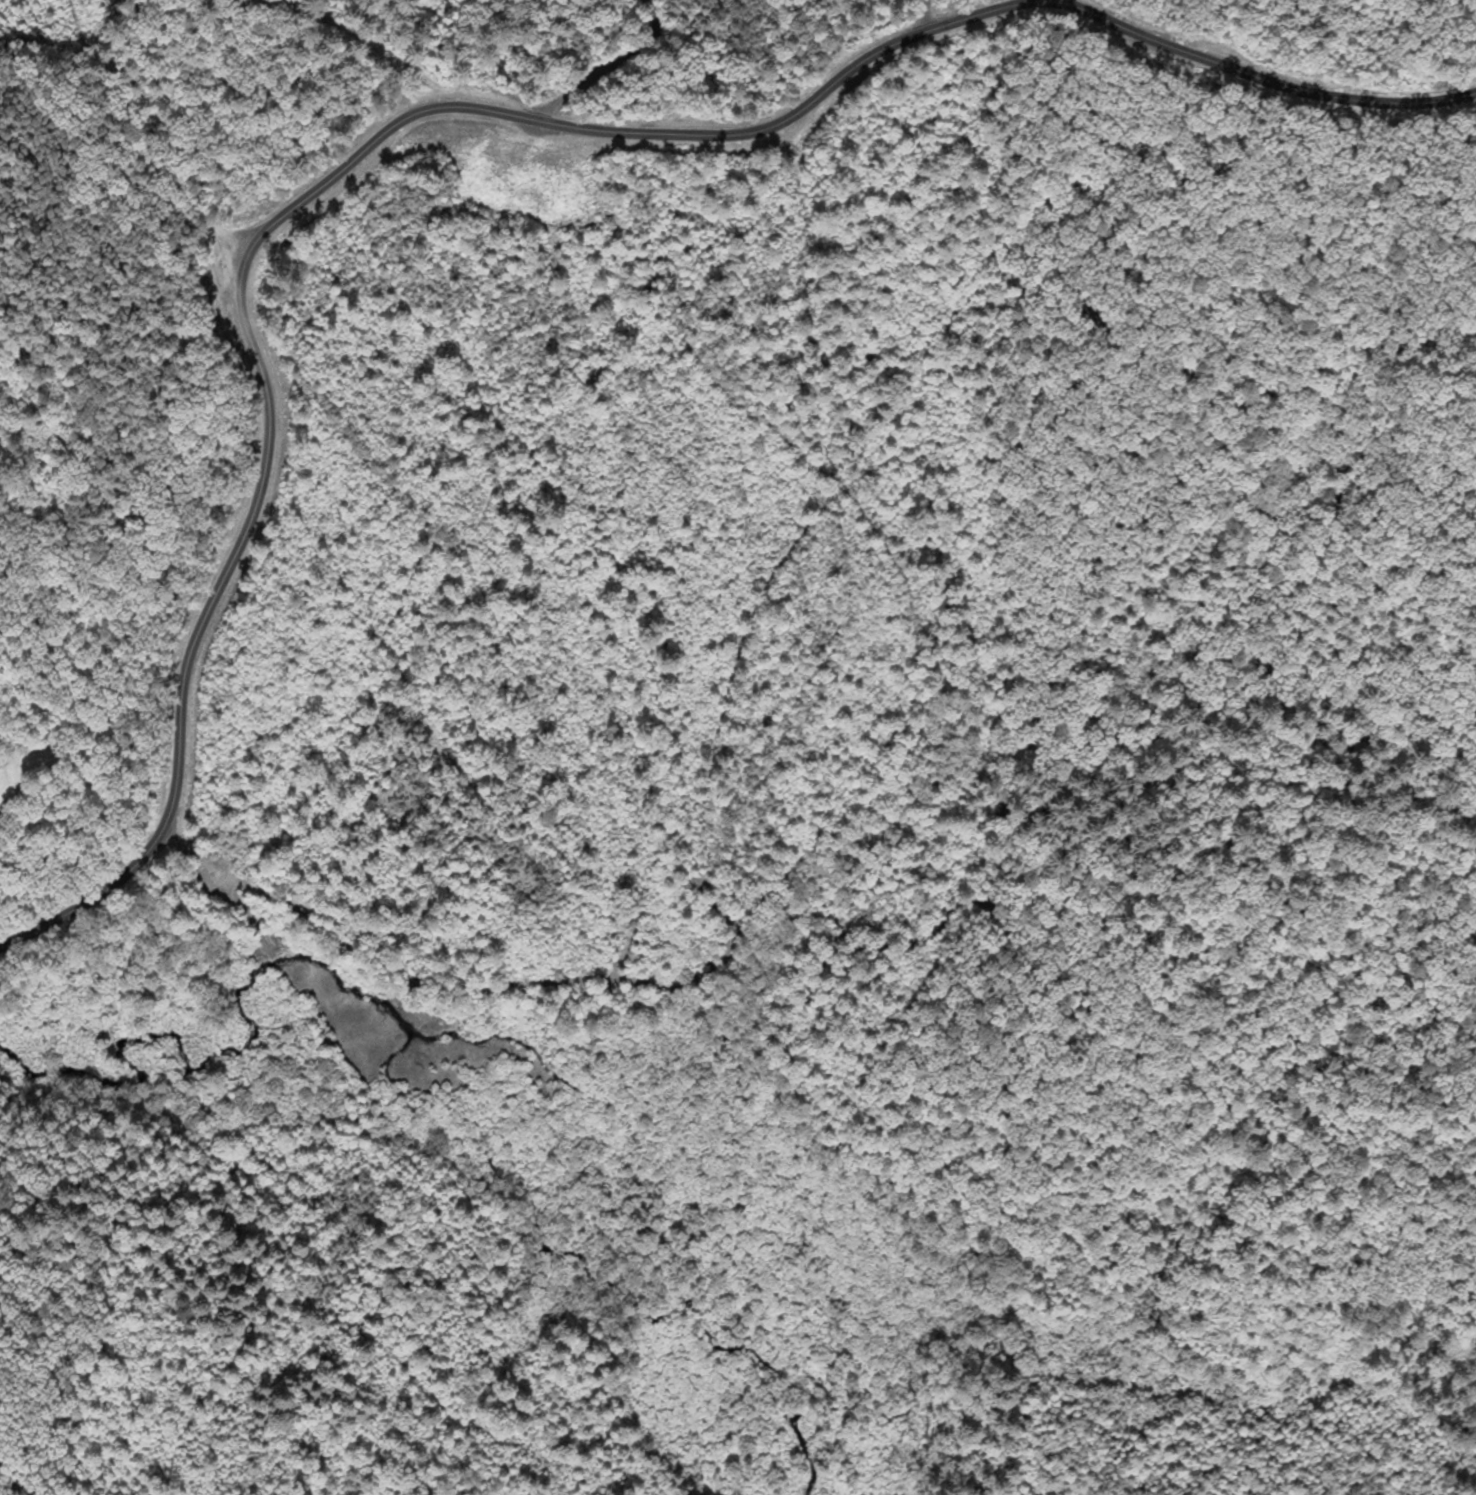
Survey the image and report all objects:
road: (924, 10)
road: (592, 58)
road: (1275, 69)
road: (606, 113)
road: (138, 141)
road: (196, 632)

